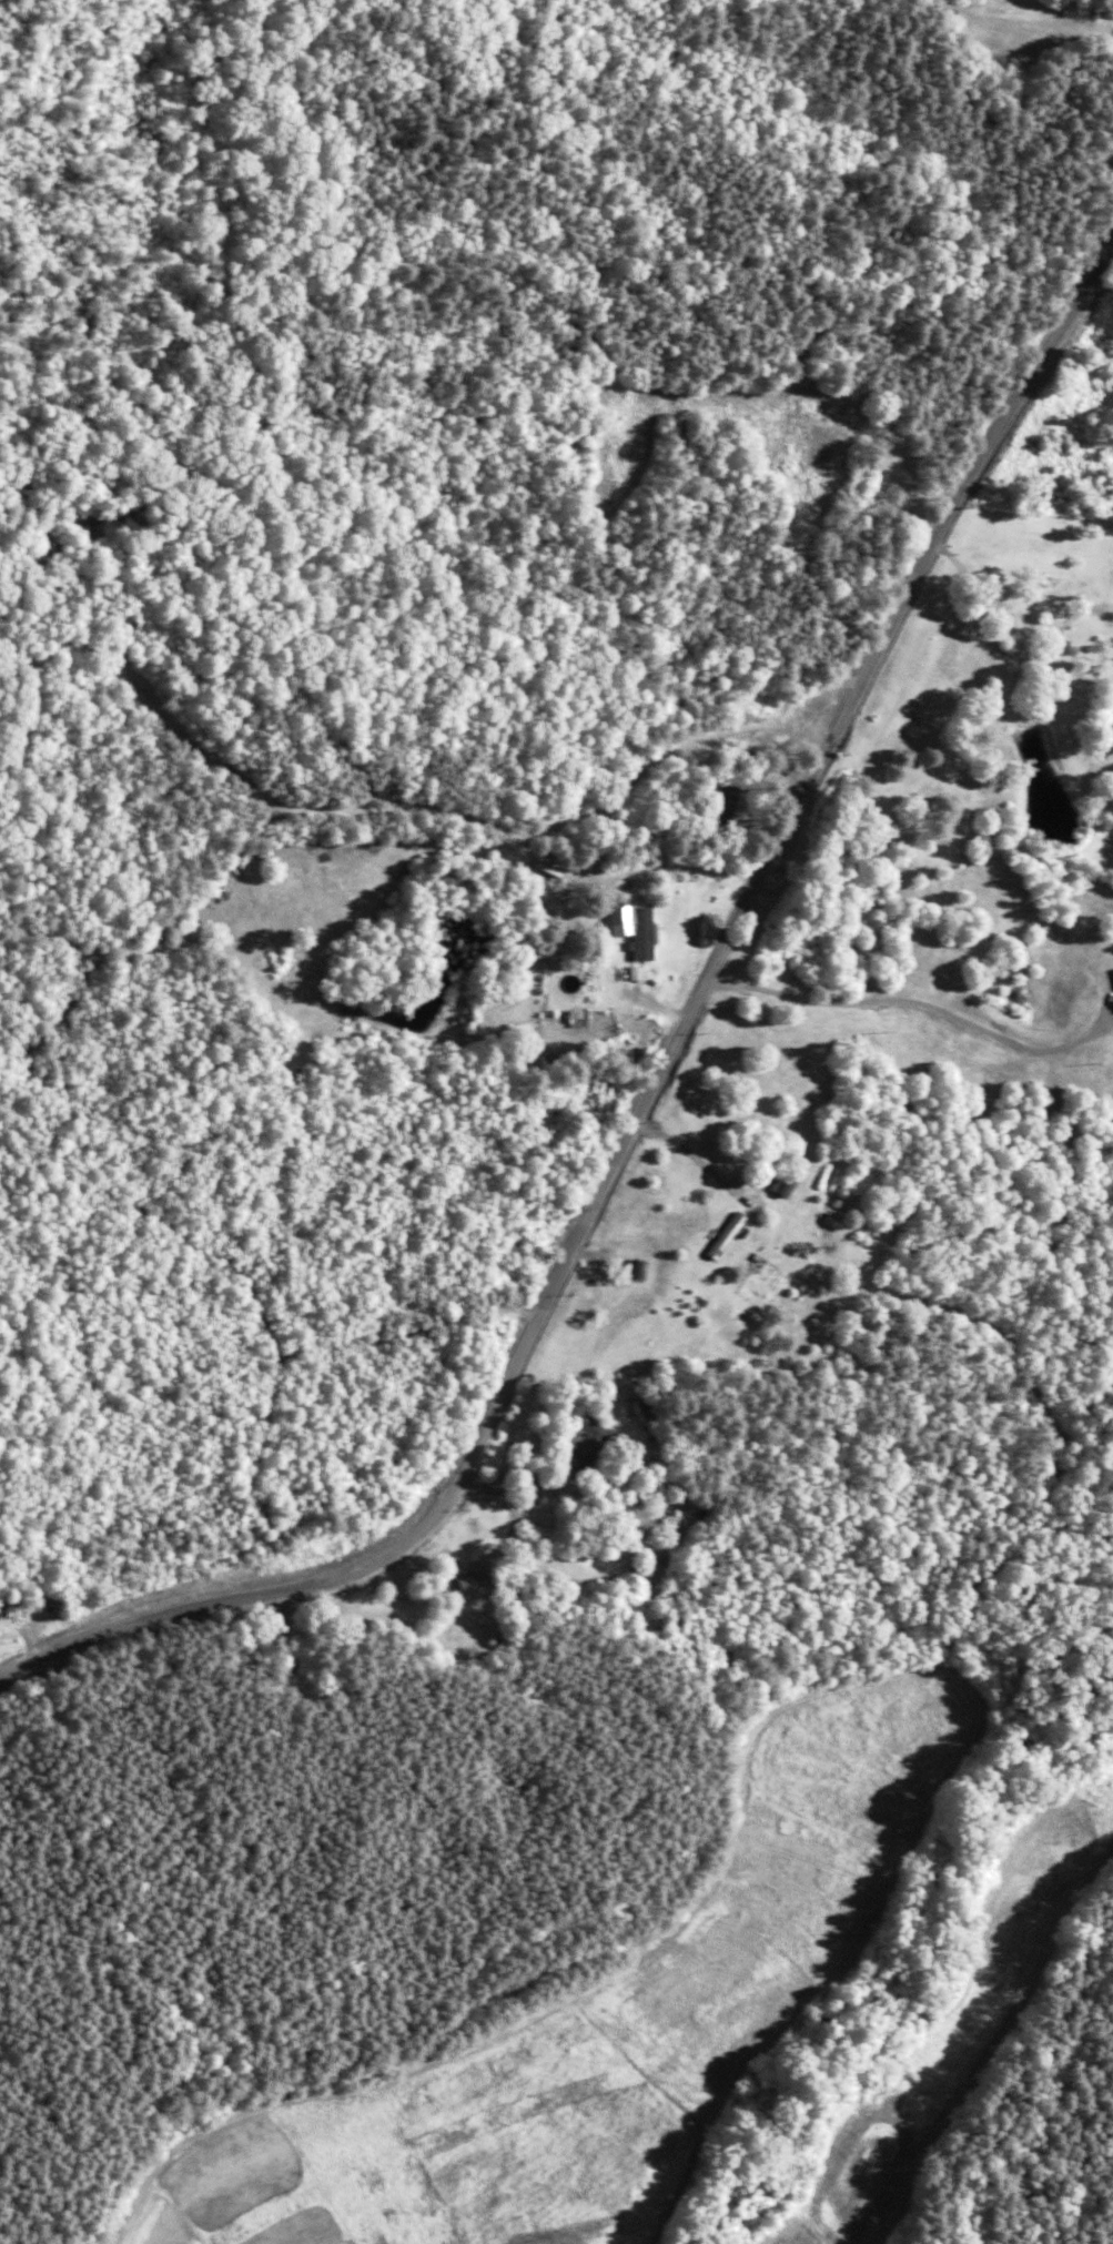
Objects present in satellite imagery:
road: (1022, 640)
building: (714, 806)
building: (626, 932)
building: (1112, 977)
road: (658, 1099)
road: (689, 1155)
building: (778, 1185)
building: (725, 1237)
building: (637, 1270)
building: (665, 1519)
road: (507, 1535)
building: (462, 1587)

